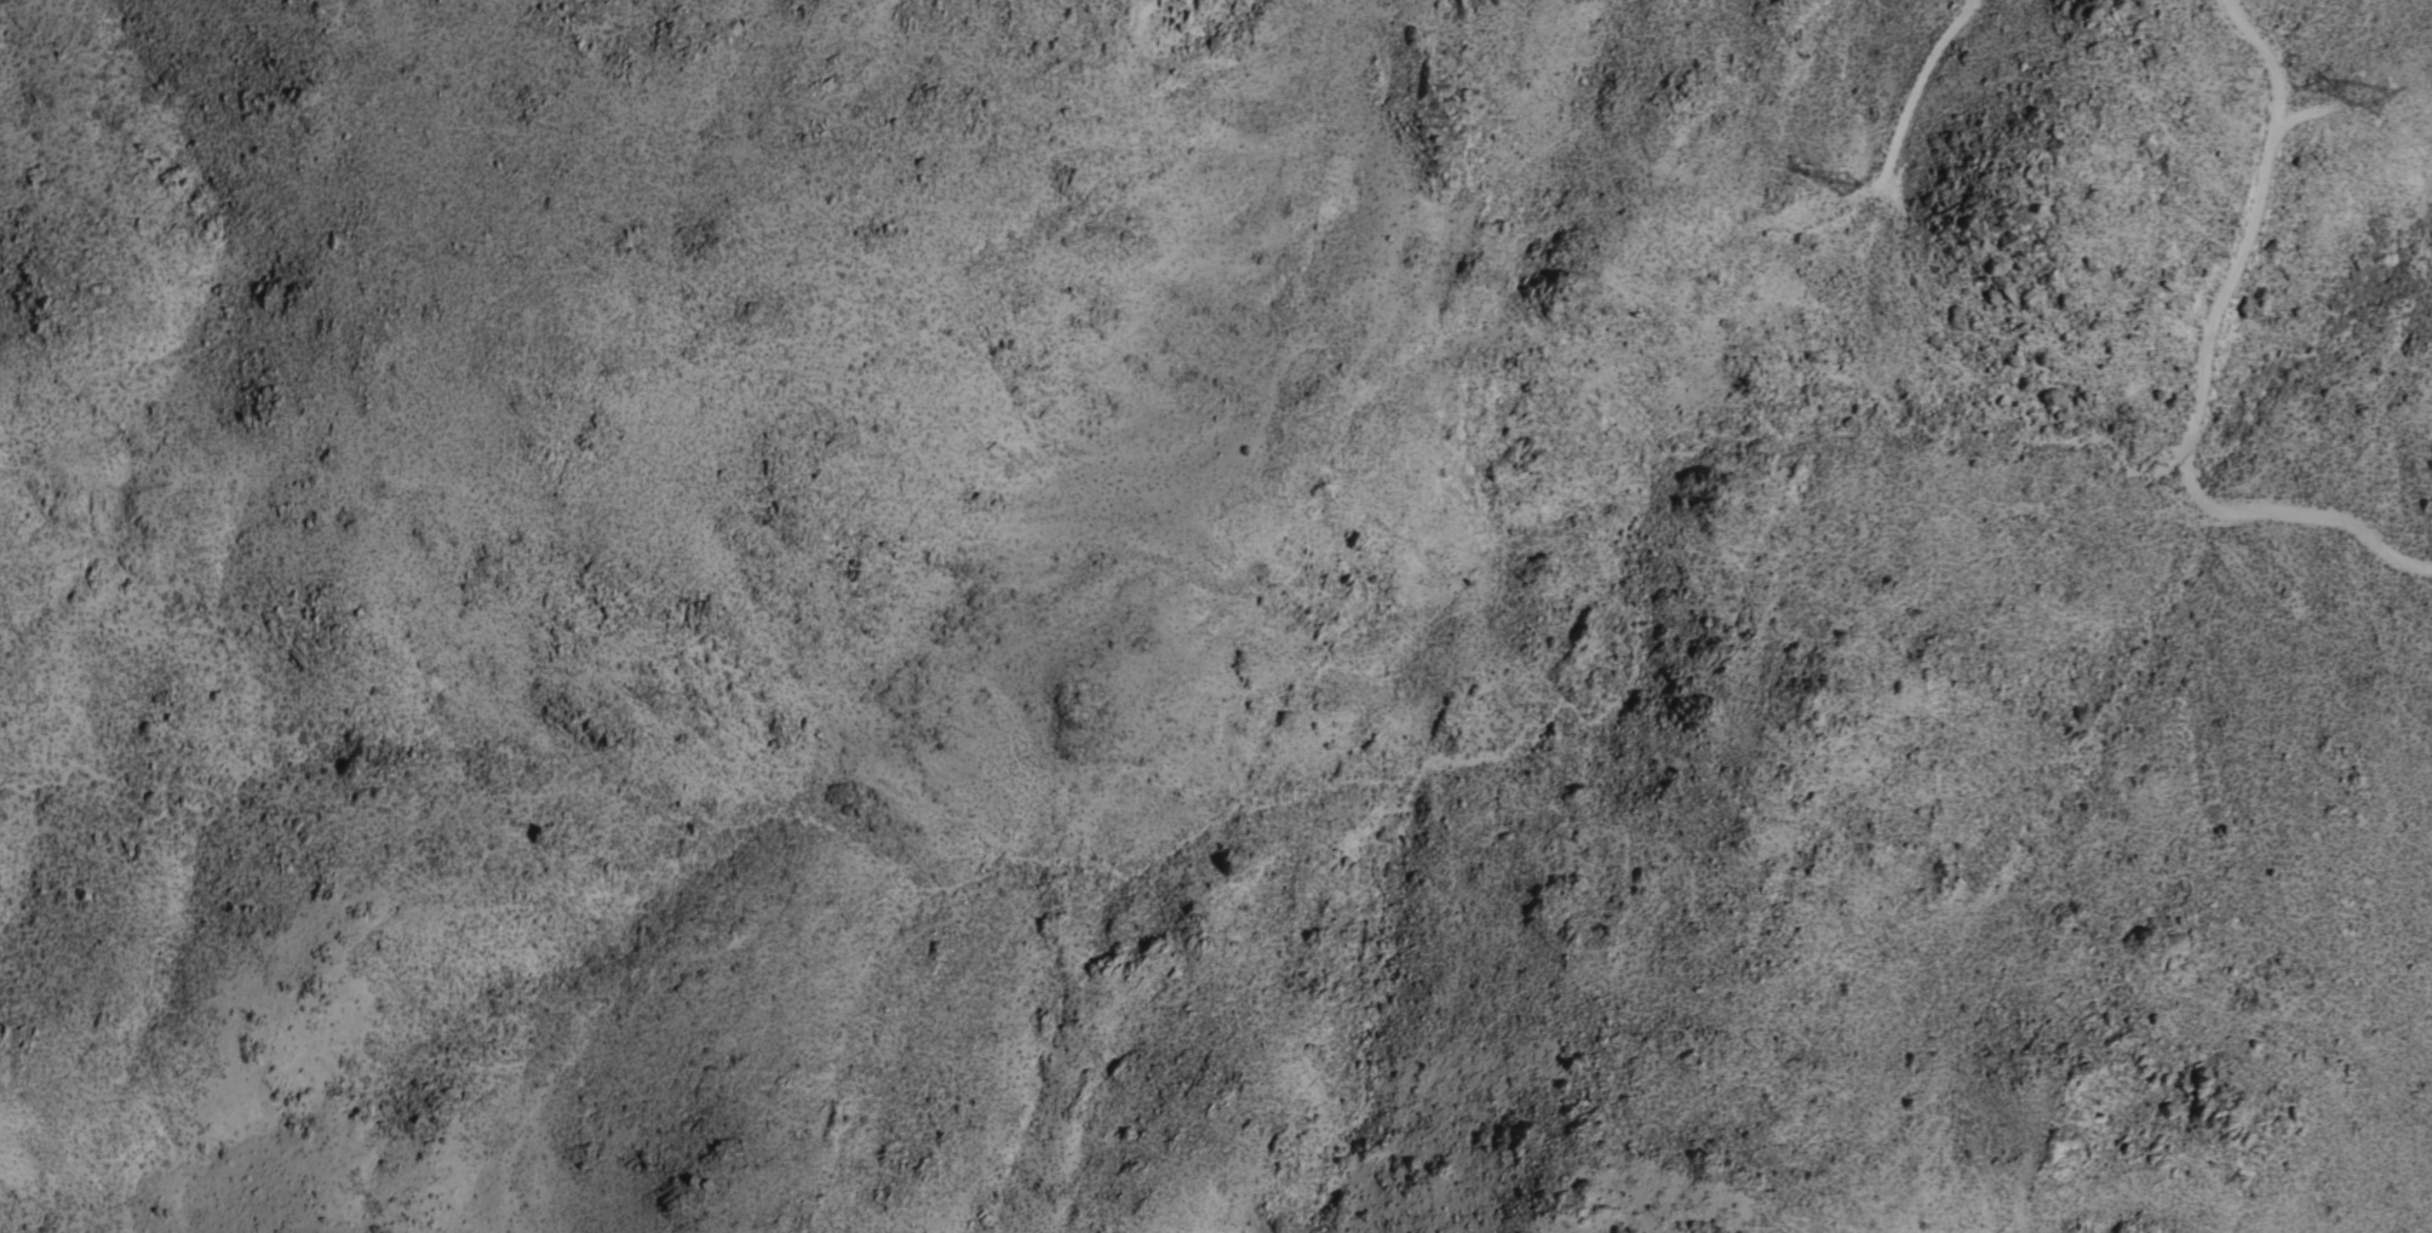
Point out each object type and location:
road: (1906, 85)
power tower: (2362, 98)
road: (2289, 115)
power tower: (1842, 190)
road: (2207, 365)

